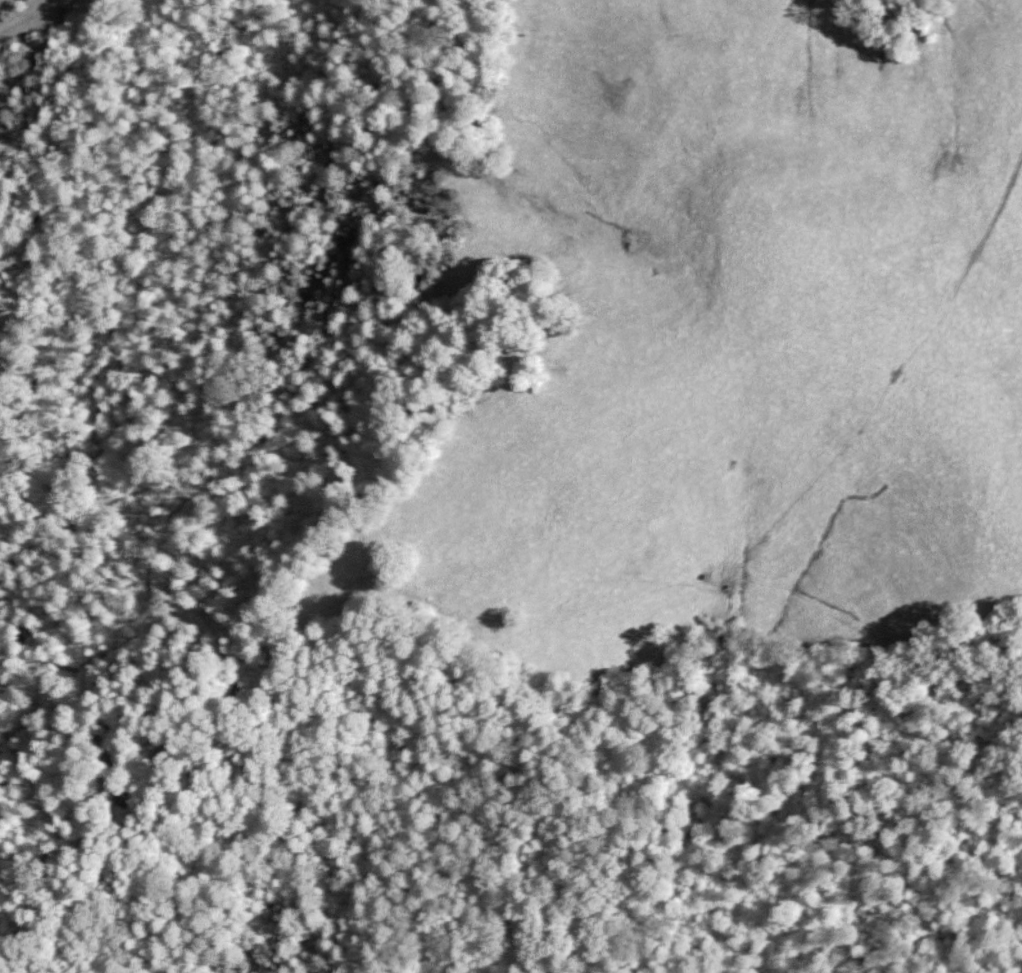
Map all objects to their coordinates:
road: (193, 750)

